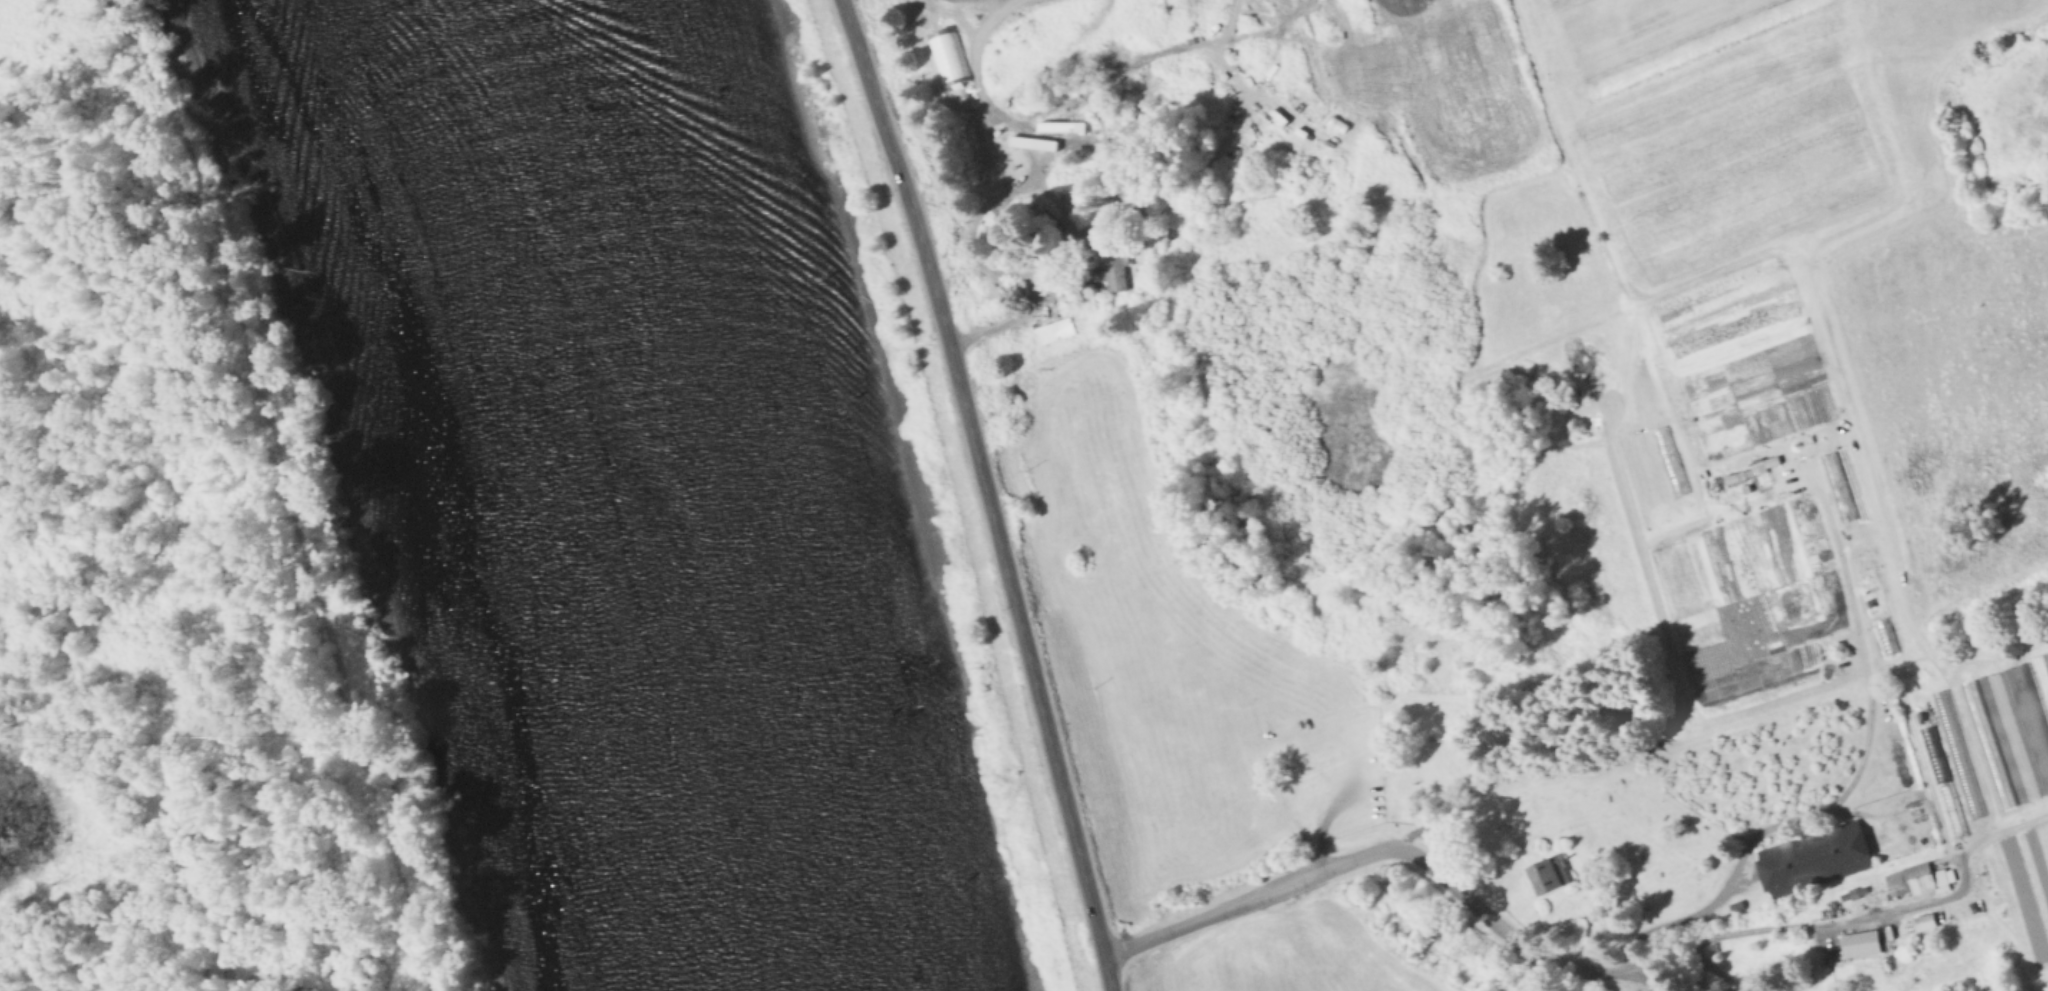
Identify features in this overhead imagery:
building: (1113, 261)
road: (1007, 320)
building: (1689, 335)
building: (1746, 447)
road: (296, 491)
road: (989, 492)
river: (638, 495)
park: (1589, 542)
building: (1884, 638)
building: (1933, 756)
building: (1956, 756)
road: (1378, 851)
building: (1813, 858)
building: (1547, 876)
building: (1917, 878)
building: (1737, 907)
building: (1925, 922)
road: (1812, 928)
park: (1065, 970)
road: (1643, 980)
building: (1813, 990)

